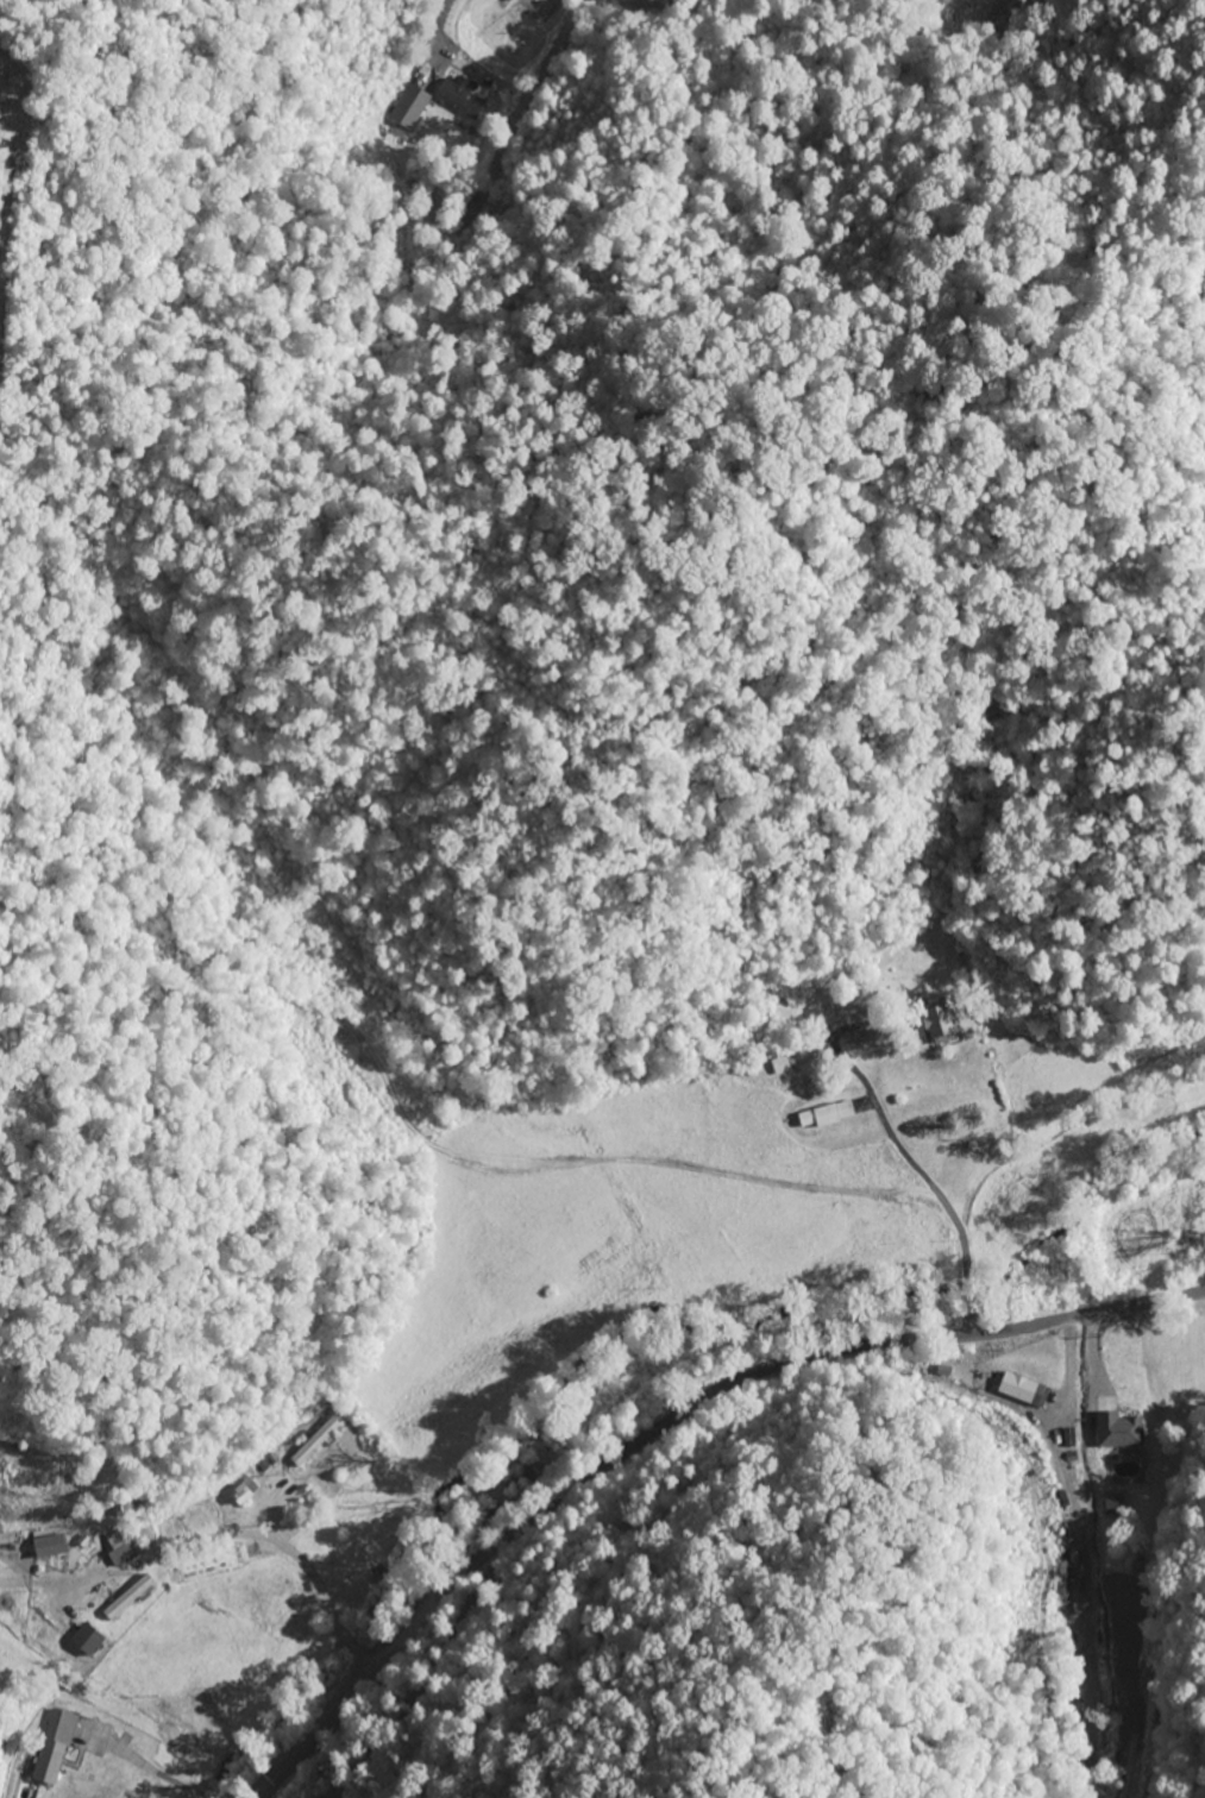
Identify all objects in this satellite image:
building: (935, 1021)
building: (859, 1043)
building: (792, 1063)
building: (823, 1117)
road: (671, 1422)
building: (1119, 1436)
building: (312, 1444)
building: (240, 1491)
building: (124, 1553)
building: (209, 1563)
building: (84, 1640)
building: (52, 1746)
road: (131, 1780)

